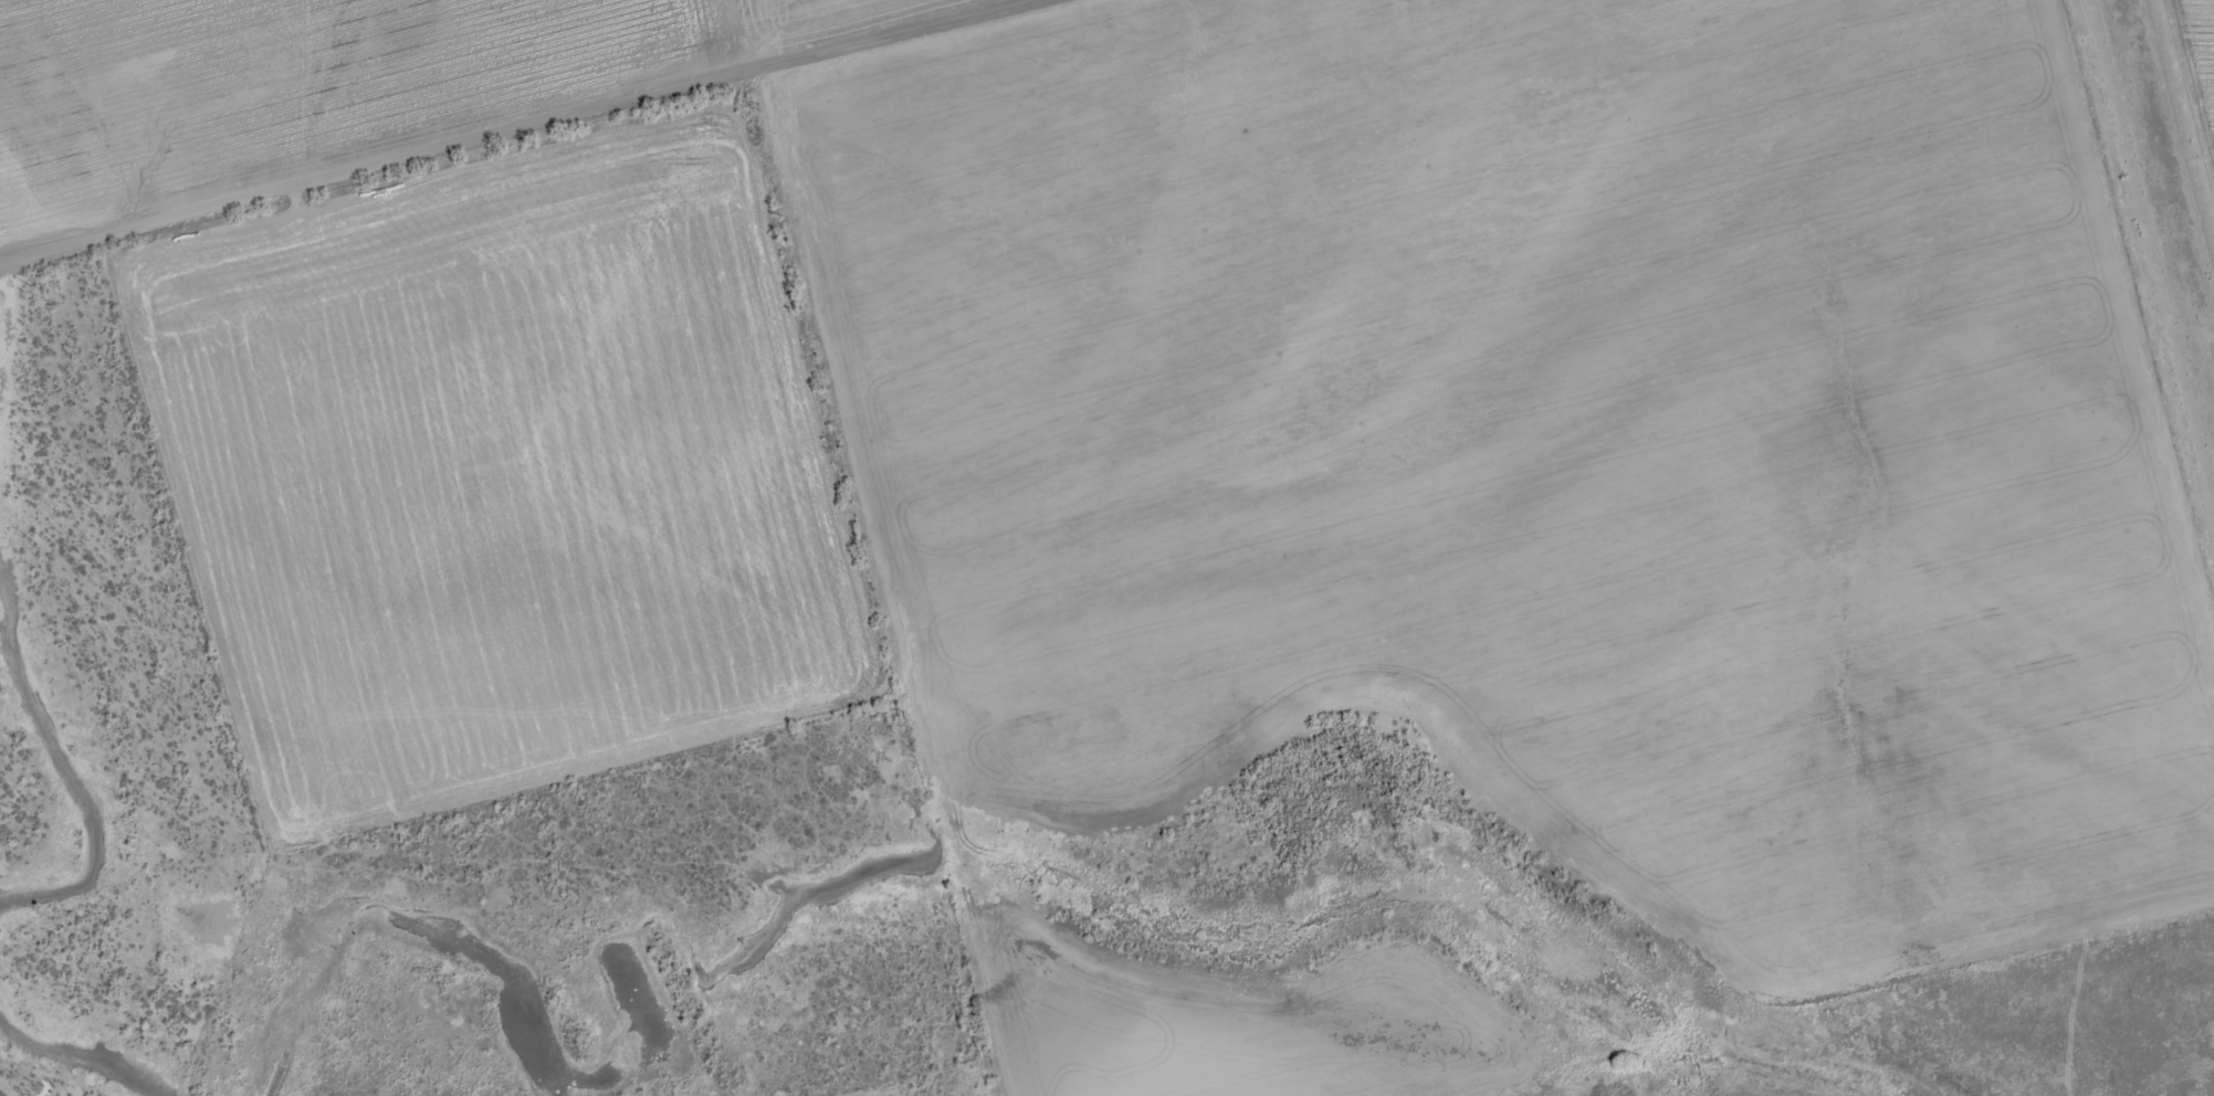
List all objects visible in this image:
road: (490, 122)

